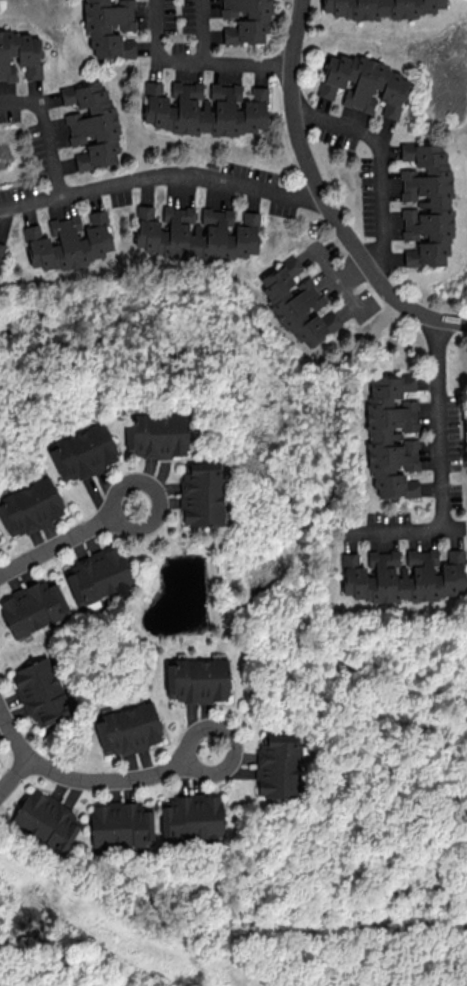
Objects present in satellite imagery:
building: (380, 8)
building: (246, 20)
building: (109, 27)
road: (206, 33)
building: (19, 55)
road: (195, 66)
building: (364, 84)
building: (205, 109)
building: (92, 124)
road: (44, 134)
road: (383, 165)
road: (162, 178)
road: (322, 196)
building: (426, 204)
building: (196, 233)
building: (69, 241)
building: (1, 249)
building: (297, 303)
building: (156, 435)
building: (392, 435)
building: (83, 452)
road: (438, 461)
building: (203, 494)
building: (30, 507)
building: (0, 538)
road: (66, 540)
building: (98, 576)
building: (401, 576)
building: (33, 606)
building: (197, 680)
building: (41, 692)
building: (128, 729)
road: (13, 732)
building: (278, 767)
road: (13, 774)
road: (117, 781)
building: (191, 817)
building: (46, 820)
building: (121, 824)

